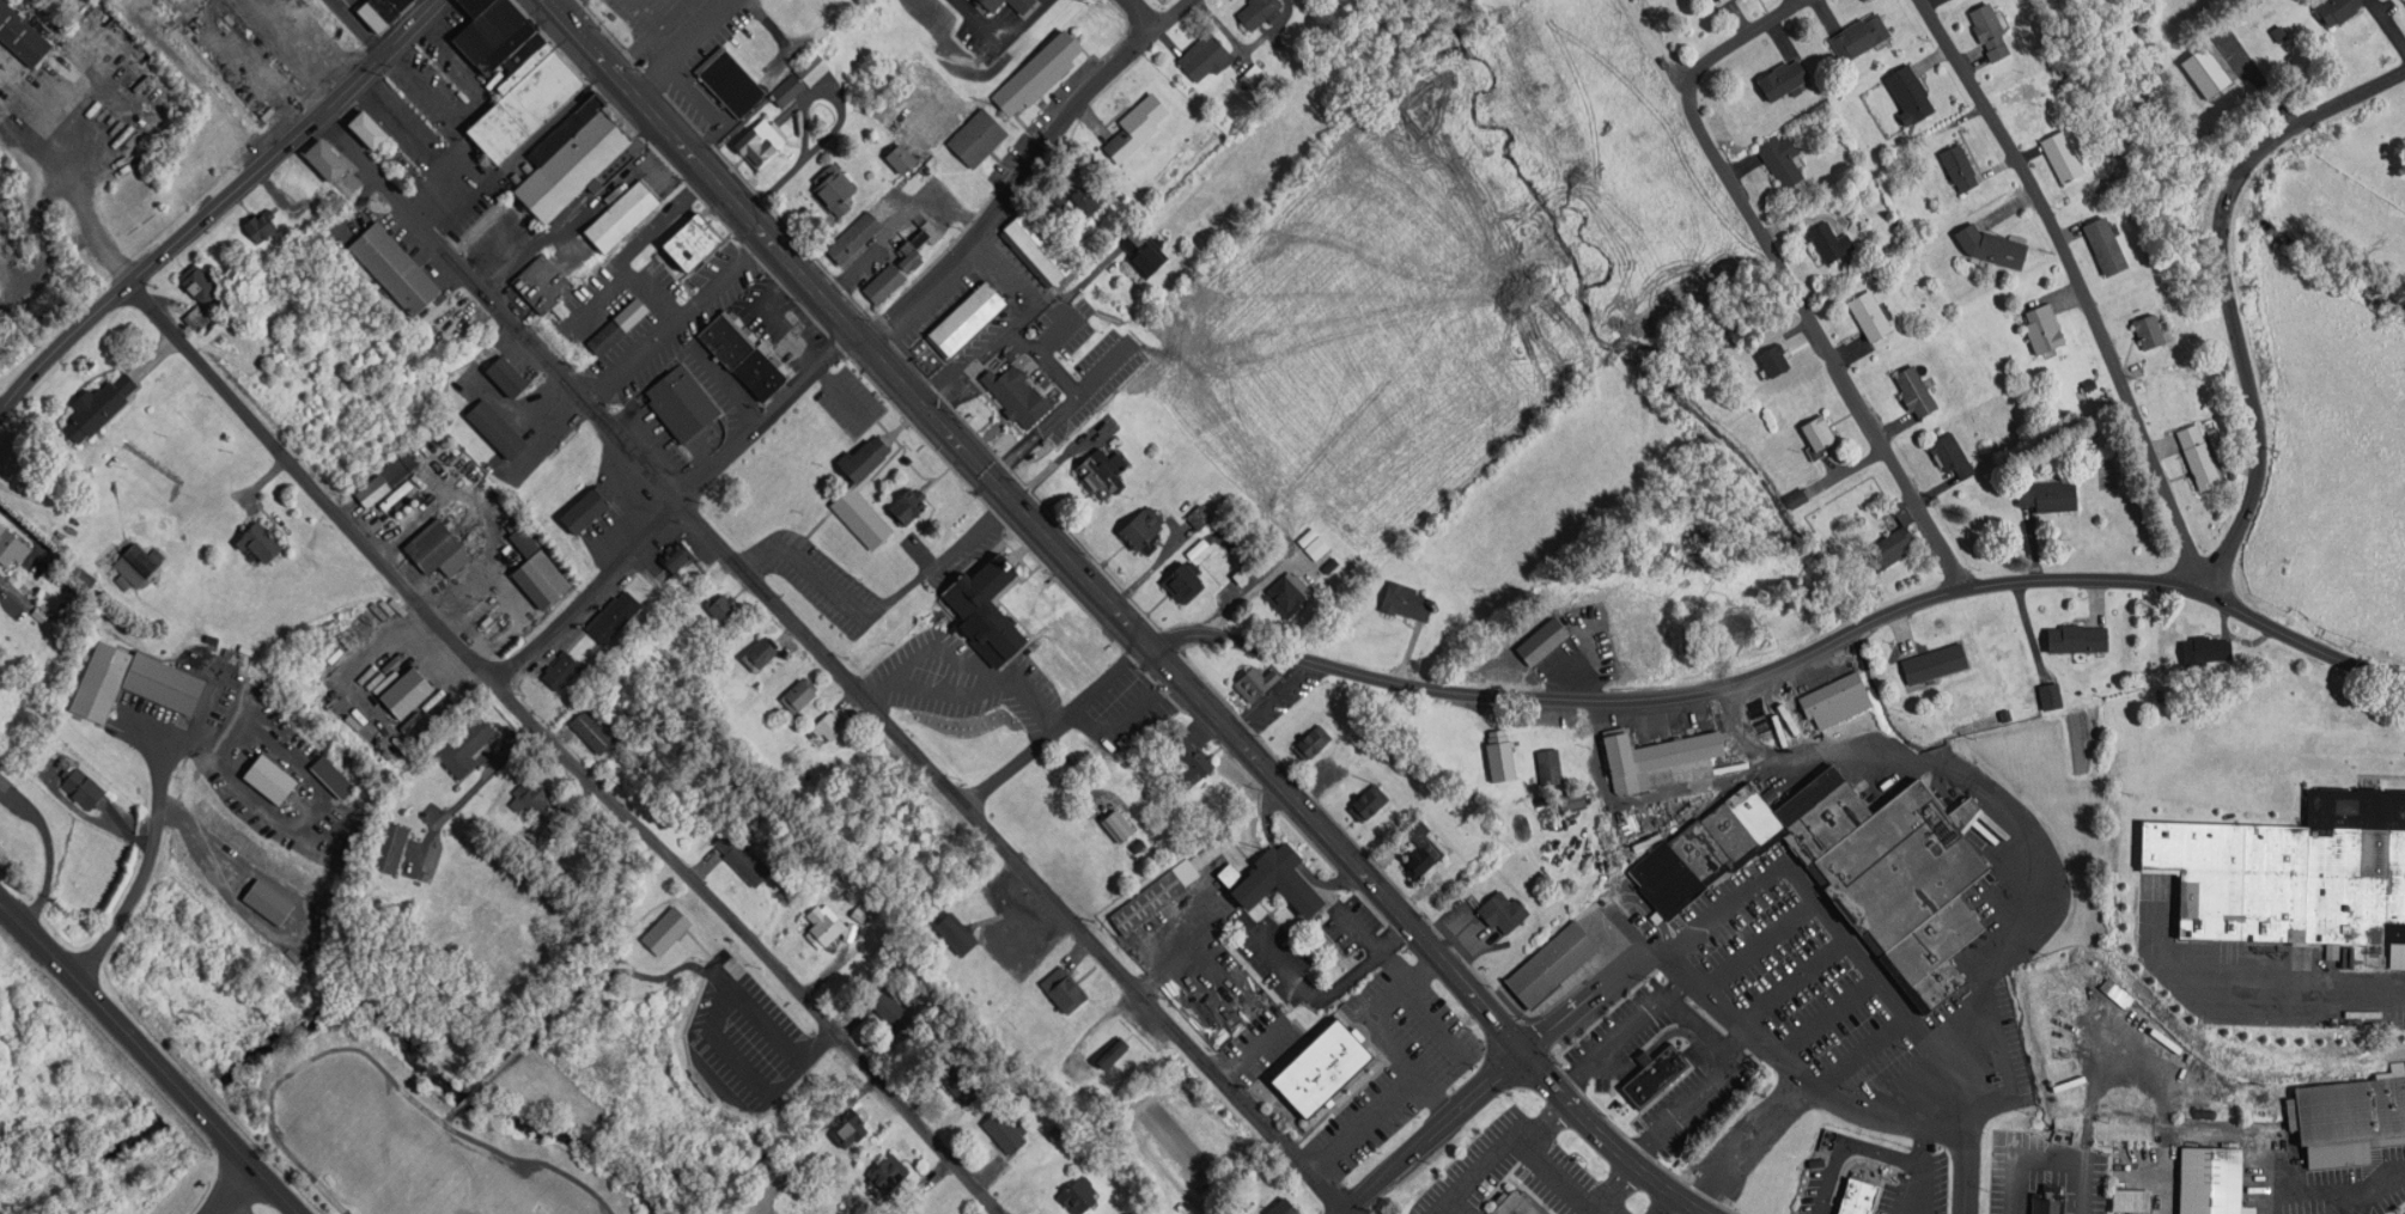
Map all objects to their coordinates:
building: (1724, 0)
building: (1023, 2)
building: (991, 5)
building: (469, 6)
building: (2345, 8)
building: (376, 11)
building: (1262, 11)
road: (1145, 13)
building: (97, 19)
road: (355, 25)
building: (485, 28)
building: (1992, 31)
road: (1745, 36)
building: (1861, 36)
building: (19, 47)
building: (501, 47)
building: (522, 49)
building: (1205, 55)
building: (812, 66)
building: (1036, 71)
building: (2209, 72)
building: (1786, 79)
building: (733, 83)
building: (787, 87)
building: (1912, 92)
building: (522, 102)
building: (1138, 123)
building: (366, 128)
building: (565, 128)
building: (976, 136)
building: (759, 141)
building: (2066, 154)
building: (900, 157)
building: (323, 158)
building: (1782, 160)
building: (571, 167)
building: (1961, 167)
road: (1022, 169)
building: (834, 185)
building: (1084, 200)
road: (214, 203)
building: (620, 215)
building: (258, 224)
building: (877, 230)
building: (1833, 240)
building: (695, 242)
building: (2109, 244)
building: (1039, 245)
building: (1992, 246)
building: (1143, 252)
road: (786, 261)
building: (392, 267)
building: (196, 280)
building: (883, 280)
building: (537, 282)
road: (2078, 287)
road: (2230, 287)
building: (1871, 315)
building: (197, 317)
building: (968, 319)
building: (617, 325)
building: (2045, 328)
road: (1815, 331)
building: (2150, 331)
building: (741, 356)
building: (1776, 360)
building: (506, 374)
building: (1134, 382)
building: (1918, 389)
building: (1017, 392)
building: (681, 401)
building: (96, 407)
road: (766, 417)
building: (494, 427)
building: (1820, 431)
building: (1952, 453)
building: (2199, 453)
building: (865, 456)
building: (398, 464)
building: (1102, 470)
building: (373, 487)
building: (2052, 494)
building: (908, 505)
building: (586, 508)
building: (1904, 511)
building: (860, 516)
building: (1144, 527)
building: (258, 539)
building: (1314, 544)
building: (1892, 545)
building: (438, 547)
building: (10, 548)
building: (677, 559)
building: (139, 560)
building: (537, 572)
building: (1183, 581)
road: (587, 590)
building: (1287, 592)
building: (1408, 599)
building: (723, 604)
building: (988, 610)
building: (614, 615)
building: (1736, 622)
building: (2082, 637)
building: (1066, 641)
building: (2209, 646)
building: (762, 651)
road: (828, 659)
road: (1788, 660)
building: (1937, 661)
building: (561, 669)
building: (101, 679)
building: (163, 679)
building: (1258, 681)
building: (799, 693)
building: (2052, 695)
building: (1835, 698)
building: (830, 724)
building: (592, 727)
building: (1313, 742)
building: (463, 746)
road: (562, 749)
building: (1502, 755)
building: (1189, 759)
building: (1662, 759)
building: (1549, 765)
building: (268, 776)
building: (334, 779)
building: (2, 781)
building: (81, 786)
building: (534, 793)
building: (1573, 798)
building: (1369, 803)
building: (1822, 812)
building: (1756, 813)
building: (1120, 828)
building: (1733, 834)
building: (390, 846)
building: (1511, 849)
building: (1703, 852)
building: (741, 855)
building: (1205, 856)
building: (1421, 862)
building: (1905, 864)
building: (2295, 870)
road: (1362, 872)
building: (1275, 878)
road: (140, 879)
building: (1667, 879)
building: (1147, 903)
building: (1505, 913)
building: (821, 925)
building: (664, 929)
building: (957, 931)
building: (1936, 940)
building: (1554, 964)
building: (1940, 984)
building: (1064, 987)
road: (577, 988)
road: (1587, 1000)
building: (2070, 1008)
parking lot: (747, 1039)
building: (1114, 1051)
traffic signals: (1523, 1051)
road: (150, 1059)
road: (378, 1063)
building: (1321, 1067)
building: (1656, 1075)
building: (2074, 1080)
building: (958, 1081)
park: (564, 1086)
road: (467, 1096)
building: (2354, 1108)
road: (451, 1110)
building: (848, 1125)
building: (1054, 1129)
building: (1004, 1130)
road: (1429, 1131)
building: (2342, 1153)
building: (887, 1172)
building: (2217, 1181)
building: (1077, 1194)
building: (1859, 1196)
building: (2136, 1200)
building: (1520, 1203)
road: (1662, 1203)
building: (2048, 1204)
building: (1286, 1208)
road: (1351, 1209)

